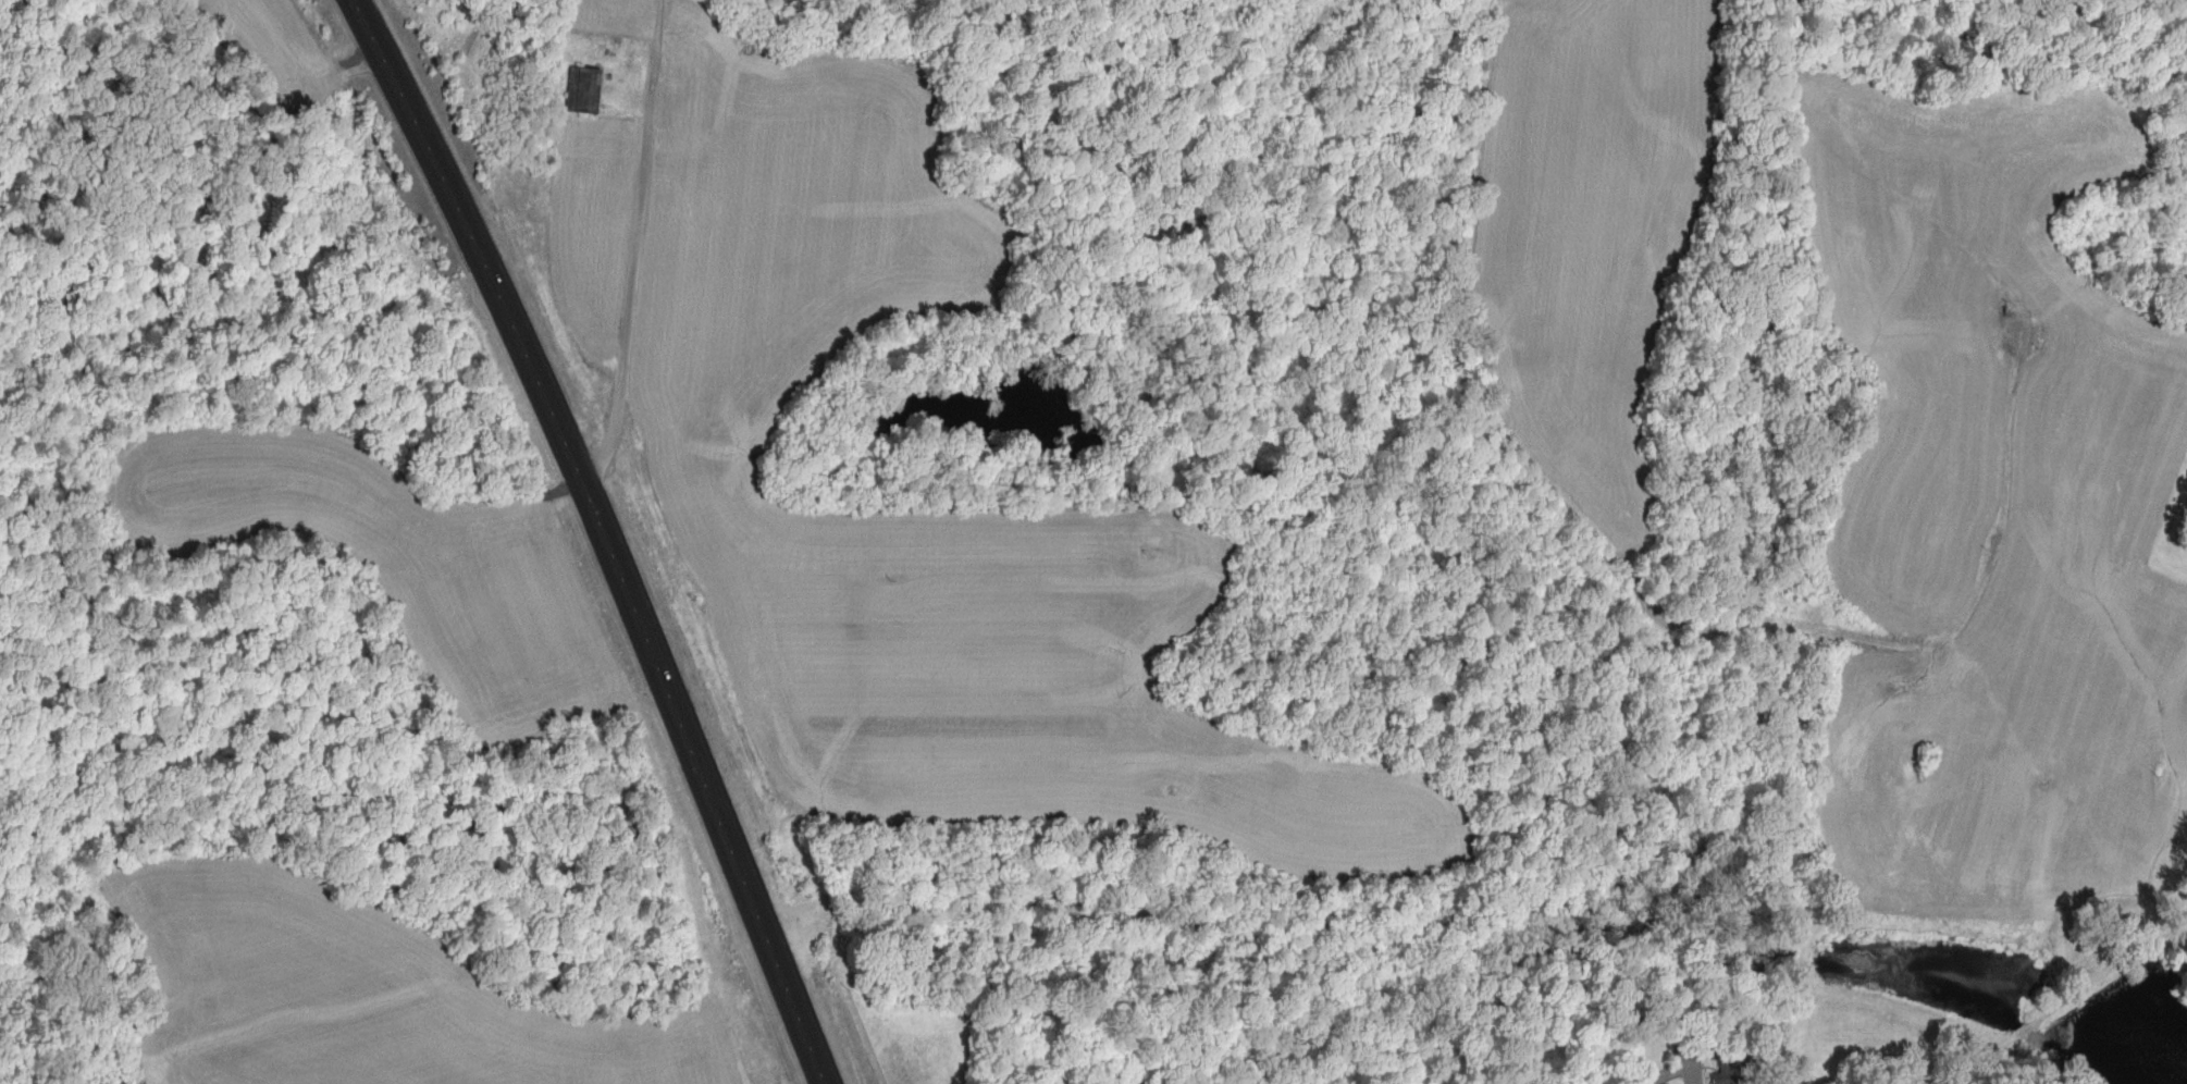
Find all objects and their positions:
building: (588, 90)
road: (634, 239)
road: (609, 534)
road: (1661, 920)
road: (2035, 1017)
building: (1723, 1062)

